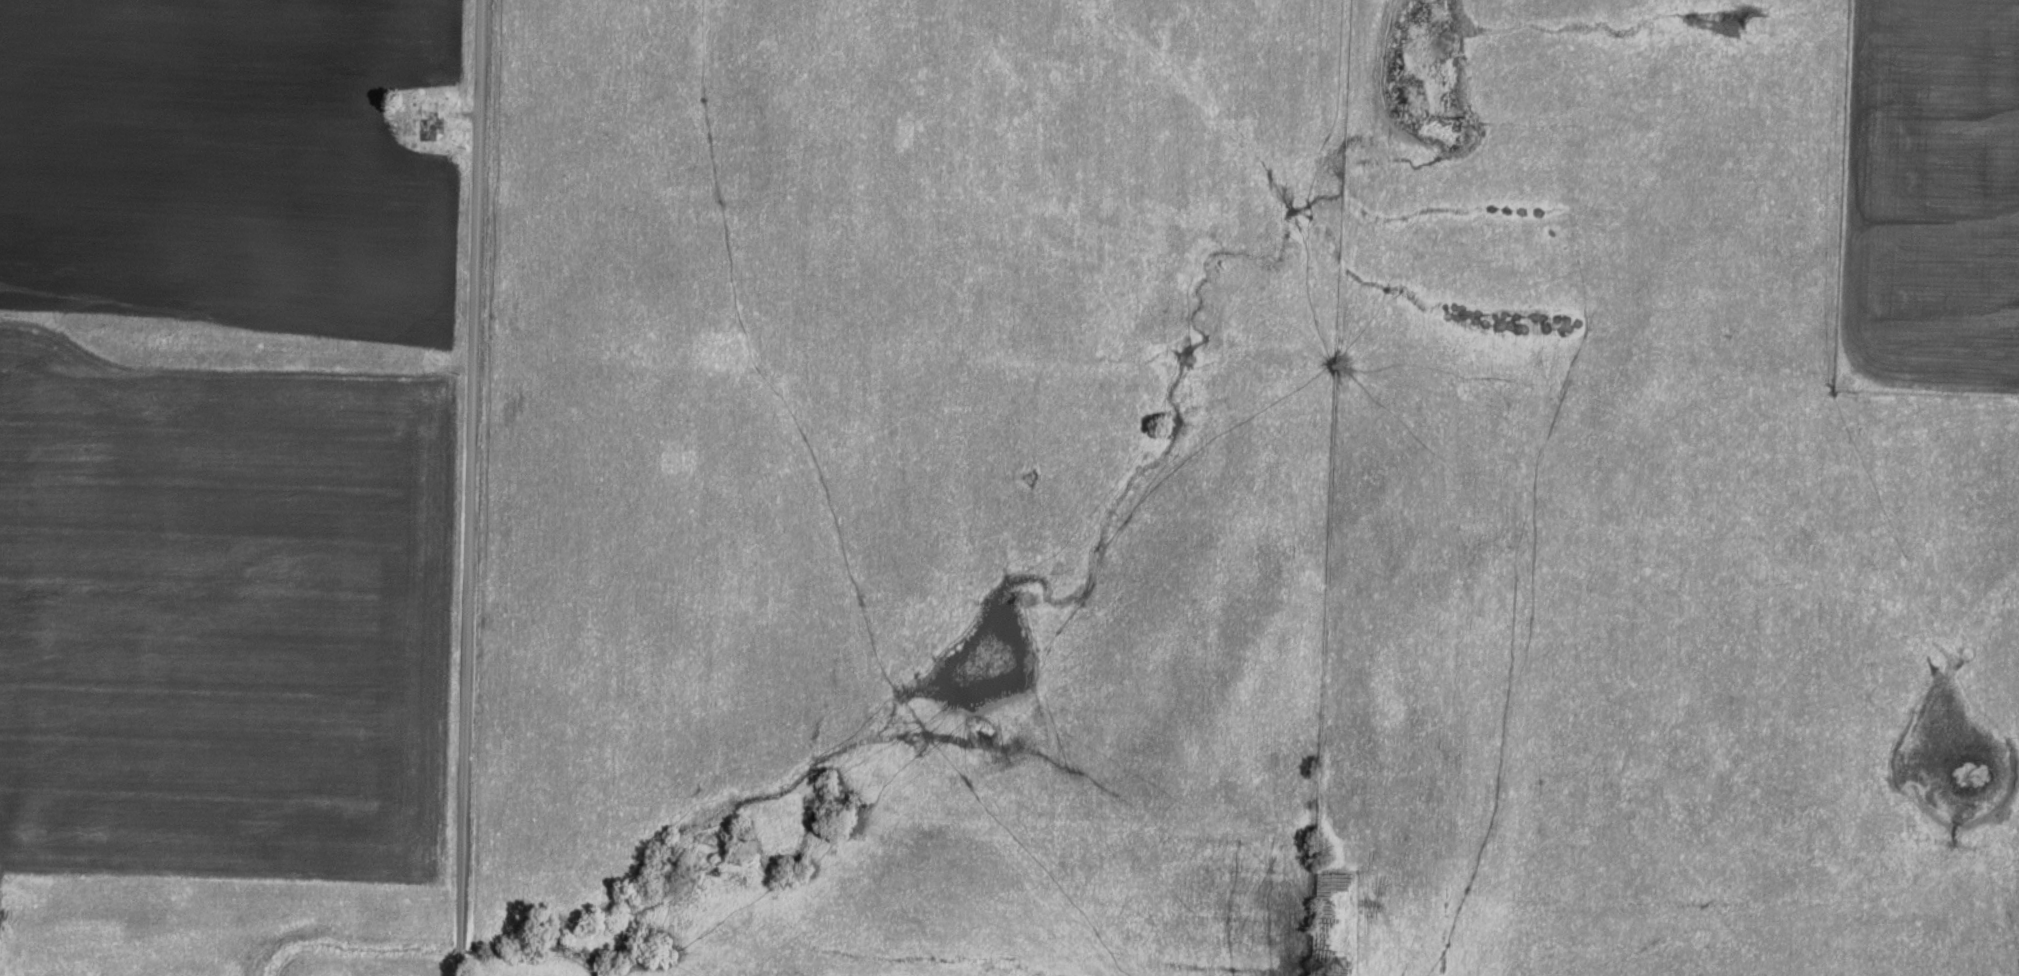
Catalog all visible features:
building: (430, 121)
crop: (233, 182)
crop: (1933, 196)
road: (444, 488)
crop: (227, 619)

